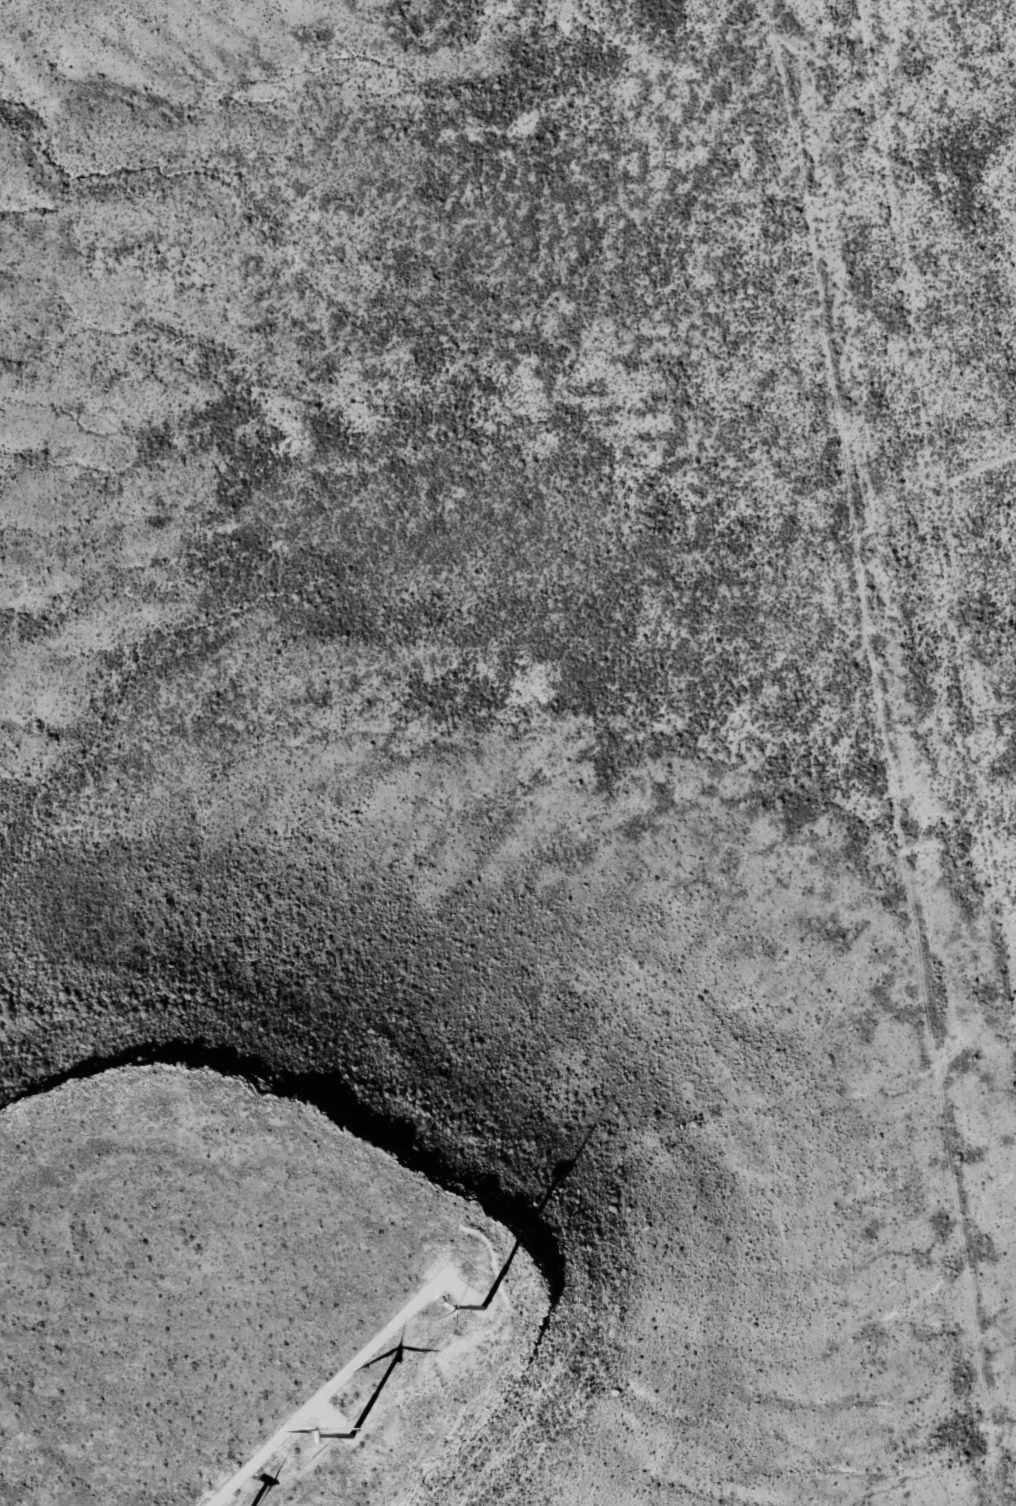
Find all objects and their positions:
wind turbine: (485, 1313)
wind turbine: (363, 1440)

